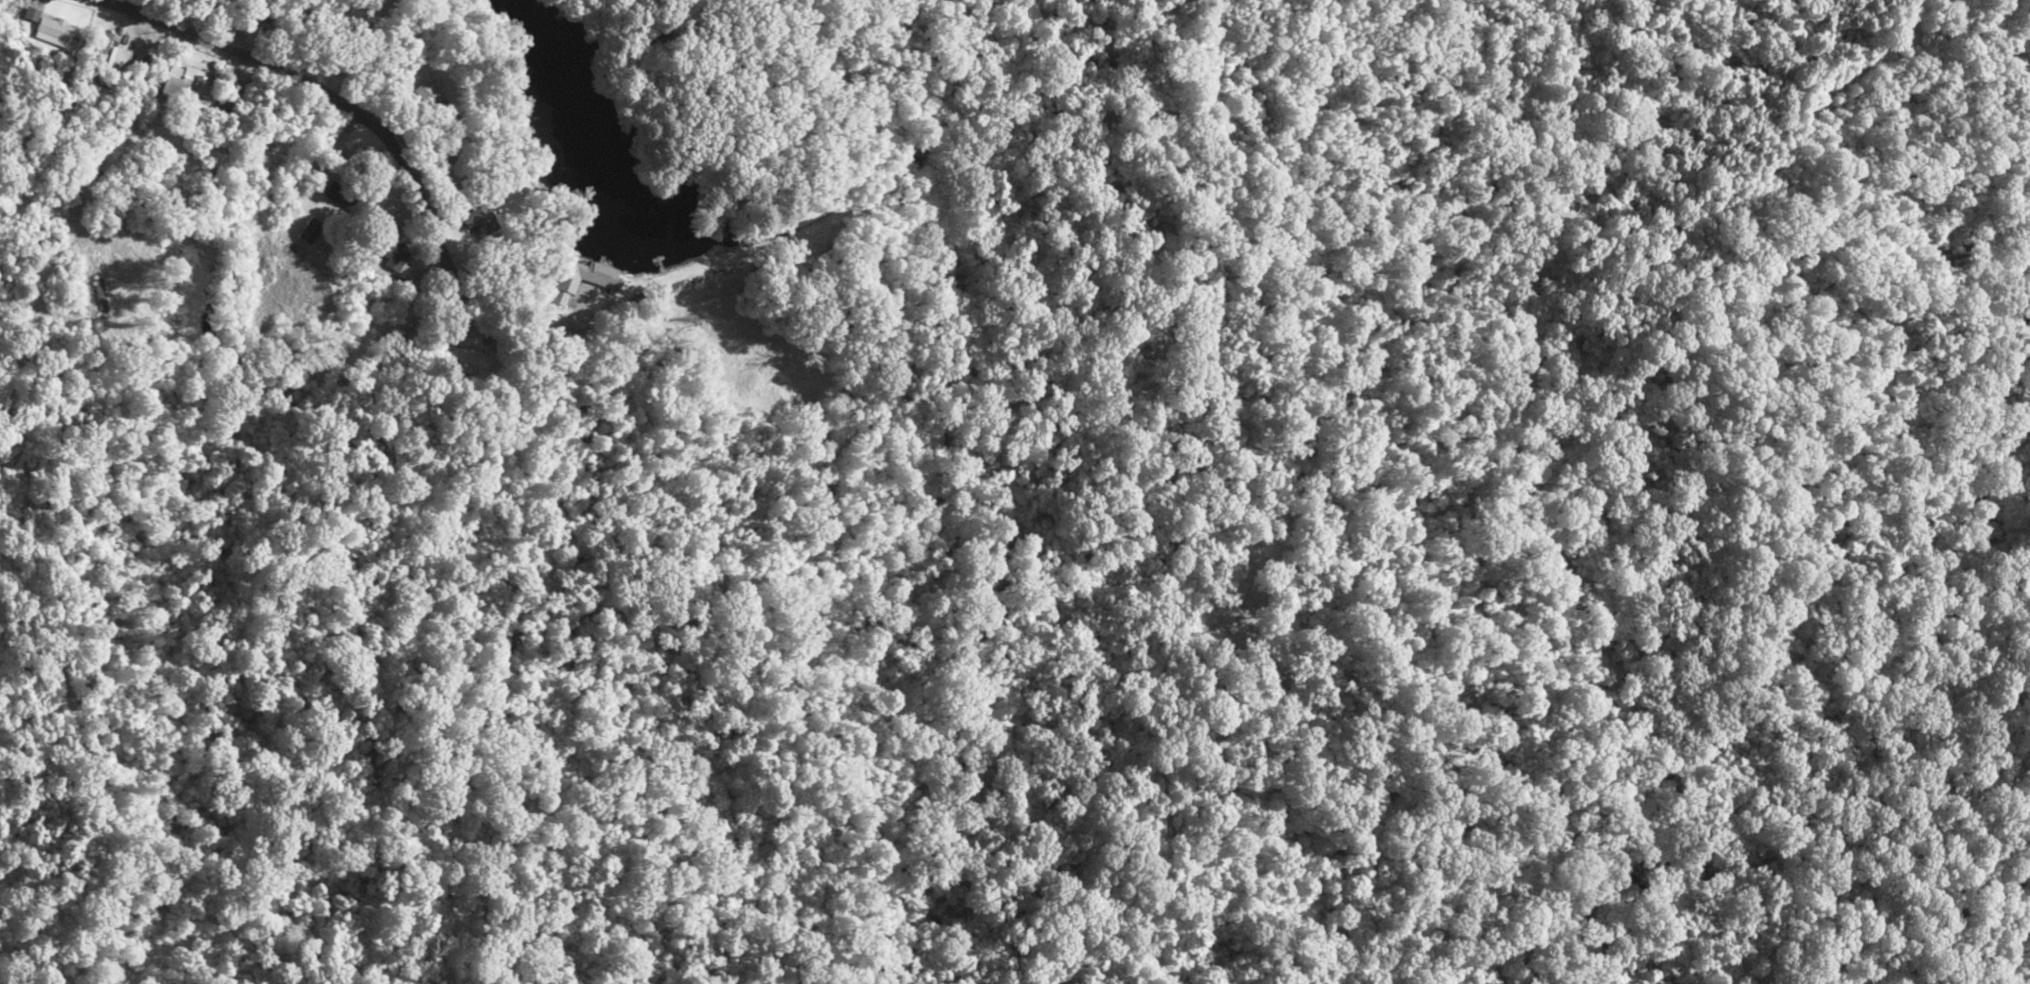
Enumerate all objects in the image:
building: (48, 27)
building: (186, 82)
building: (427, 93)
road: (221, 162)
building: (346, 196)
building: (391, 253)
building: (579, 278)
building: (469, 360)

